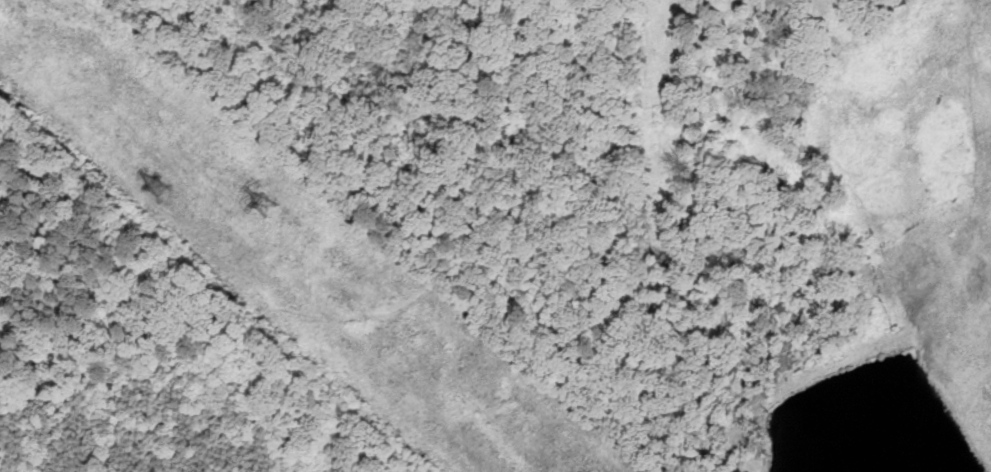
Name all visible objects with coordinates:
power tower: (157, 190)
power tower: (264, 206)
road: (377, 313)

